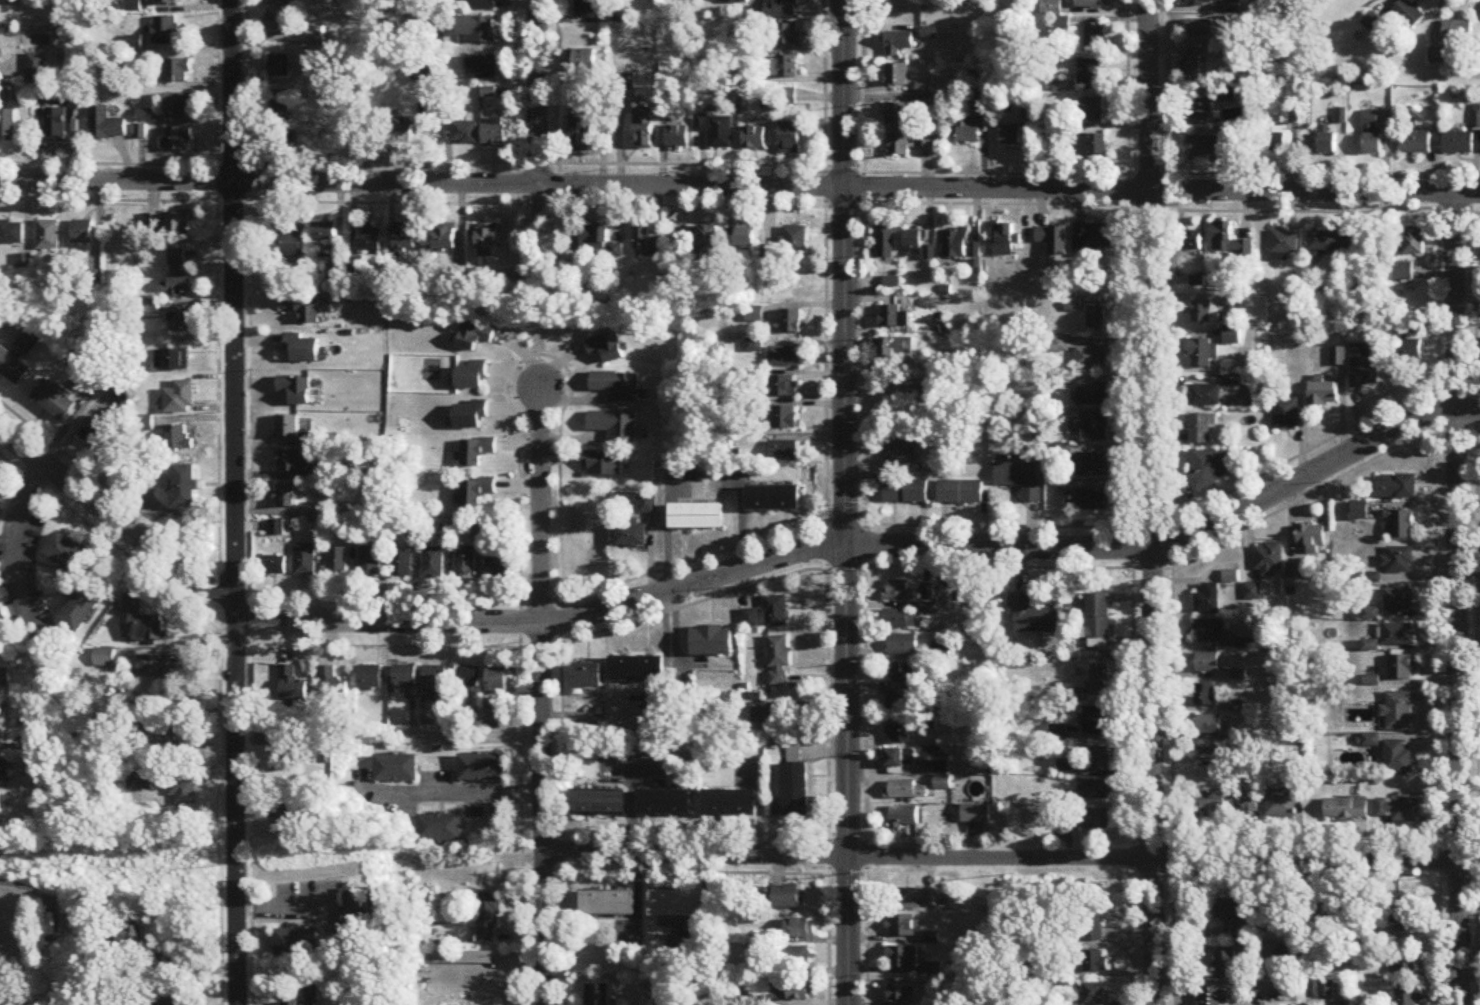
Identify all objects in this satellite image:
building: (283, 0)
building: (162, 1)
building: (1205, 1)
building: (1089, 4)
building: (483, 5)
building: (781, 8)
building: (1051, 8)
building: (590, 9)
building: (1408, 14)
building: (276, 26)
building: (1200, 28)
building: (166, 29)
building: (478, 29)
building: (1457, 31)
building: (783, 34)
building: (1095, 36)
building: (898, 43)
building: (1437, 56)
building: (583, 63)
building: (278, 66)
building: (783, 67)
building: (37, 68)
building: (482, 68)
building: (1196, 68)
building: (177, 71)
building: (1090, 72)
building: (425, 75)
building: (896, 76)
road: (542, 93)
building: (779, 97)
building: (279, 105)
building: (178, 106)
building: (1092, 110)
building: (1200, 110)
building: (896, 115)
building: (55, 125)
building: (105, 125)
building: (8, 126)
building: (644, 128)
building: (717, 130)
building: (967, 132)
building: (401, 133)
building: (465, 134)
building: (1370, 134)
building: (494, 136)
building: (581, 136)
building: (678, 137)
building: (1009, 137)
building: (755, 138)
building: (790, 138)
building: (177, 139)
building: (280, 141)
building: (1274, 141)
building: (1326, 141)
building: (1415, 143)
building: (907, 144)
building: (1457, 144)
building: (1091, 145)
building: (1207, 148)
road: (739, 187)
building: (178, 224)
building: (83, 232)
building: (324, 232)
building: (11, 234)
building: (48, 236)
building: (595, 237)
building: (446, 238)
building: (641, 238)
building: (370, 239)
building: (405, 240)
building: (1005, 240)
building: (1053, 240)
building: (1091, 240)
building: (487, 241)
building: (745, 241)
building: (914, 241)
building: (288, 242)
building: (697, 242)
building: (1191, 242)
building: (885, 243)
building: (1229, 243)
building: (955, 244)
building: (1329, 244)
building: (1414, 244)
building: (789, 245)
building: (1284, 246)
building: (1403, 272)
building: (177, 277)
building: (890, 283)
building: (303, 308)
building: (1202, 313)
building: (893, 317)
building: (1095, 318)
building: (181, 319)
building: (791, 322)
building: (472, 336)
building: (1231, 337)
building: (26, 342)
building: (1413, 344)
building: (1059, 345)
building: (300, 348)
building: (894, 348)
building: (605, 349)
building: (1203, 354)
building: (785, 357)
building: (1091, 358)
building: (177, 360)
building: (1363, 367)
building: (12, 368)
building: (471, 377)
building: (617, 386)
building: (783, 387)
building: (935, 388)
building: (294, 390)
building: (1092, 394)
building: (1322, 394)
building: (1204, 396)
building: (180, 398)
building: (53, 400)
building: (1285, 415)
building: (469, 416)
building: (786, 418)
building: (614, 426)
building: (287, 427)
building: (1094, 427)
building: (1201, 430)
building: (179, 439)
building: (100, 440)
building: (901, 449)
building: (476, 452)
building: (784, 452)
building: (293, 462)
building: (602, 465)
building: (1091, 466)
building: (1208, 470)
building: (1020, 480)
building: (184, 487)
building: (1396, 489)
building: (476, 492)
building: (907, 492)
building: (960, 494)
building: (287, 496)
building: (772, 500)
building: (1093, 501)
road: (237, 502)
road: (849, 502)
road: (1151, 502)
road: (542, 506)
building: (647, 506)
building: (695, 518)
building: (1401, 525)
building: (276, 528)
building: (630, 534)
building: (1311, 539)
road: (15, 546)
building: (68, 557)
building: (304, 561)
building: (465, 561)
building: (1268, 561)
building: (370, 562)
building: (1398, 562)
building: (337, 563)
building: (400, 563)
building: (433, 564)
building: (274, 566)
building: (498, 567)
building: (1294, 573)
road: (723, 578)
building: (899, 592)
road: (1456, 599)
building: (1207, 600)
building: (1399, 601)
building: (80, 611)
building: (776, 613)
building: (1033, 617)
building: (1098, 617)
building: (751, 620)
building: (898, 620)
building: (144, 622)
building: (1, 623)
building: (1210, 631)
building: (1399, 635)
building: (712, 642)
building: (903, 645)
road: (179, 649)
building: (942, 650)
building: (105, 659)
building: (779, 662)
building: (1207, 663)
building: (155, 666)
building: (1401, 668)
building: (637, 670)
building: (903, 675)
building: (370, 677)
building: (588, 677)
building: (405, 678)
building: (470, 678)
building: (1100, 679)
building: (498, 681)
building: (437, 682)
building: (292, 685)
building: (332, 685)
building: (1206, 695)
building: (898, 706)
building: (1398, 712)
building: (765, 718)
building: (1097, 721)
building: (1209, 725)
building: (1, 730)
building: (900, 735)
road: (468, 736)
building: (187, 742)
building: (796, 749)
building: (1397, 758)
building: (899, 759)
building: (286, 760)
building: (1100, 761)
building: (928, 768)
building: (397, 769)
building: (481, 769)
building: (5, 773)
building: (943, 783)
building: (796, 790)
building: (1096, 790)
building: (907, 791)
building: (185, 793)
road: (473, 794)
building: (599, 803)
building: (665, 803)
building: (0, 804)
building: (730, 804)
building: (1209, 804)
building: (1250, 804)
building: (1281, 808)
building: (1346, 809)
building: (282, 811)
building: (1400, 811)
road: (545, 813)
building: (976, 814)
building: (904, 817)
building: (1096, 820)
building: (441, 829)
road: (1012, 860)
building: (787, 897)
building: (916, 899)
building: (608, 903)
building: (676, 904)
road: (286, 906)
building: (361, 911)
building: (1335, 912)
building: (1399, 916)
building: (488, 918)
building: (1092, 921)
building: (903, 927)
building: (801, 930)
building: (125, 937)
building: (298, 944)
building: (683, 945)
building: (456, 959)
building: (797, 959)
building: (903, 959)
building: (1405, 963)
building: (1094, 964)
building: (1225, 965)
building: (794, 992)
building: (899, 992)
building: (1096, 994)
building: (599, 995)
building: (312, 996)
building: (1213, 996)
building: (1406, 997)
building: (8, 1000)
building: (113, 1000)
building: (175, 1000)

